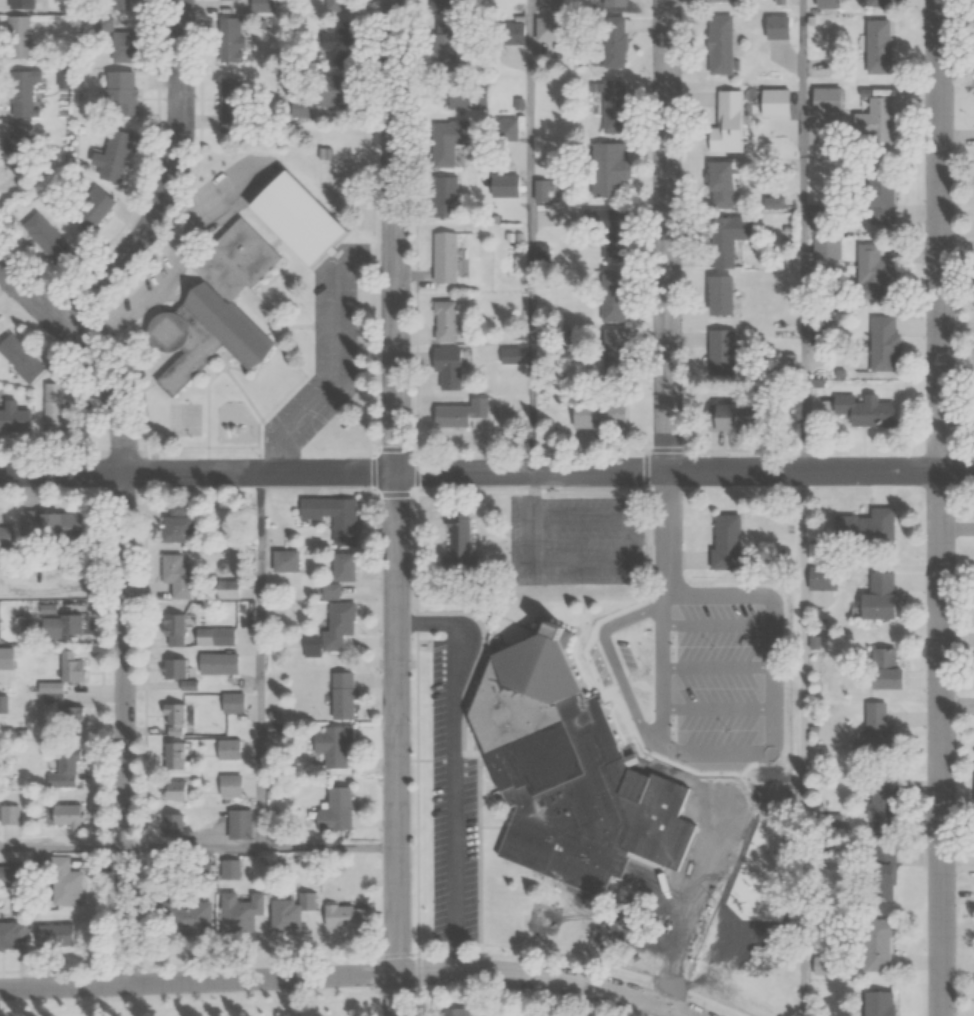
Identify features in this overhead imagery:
building: (548, 3)
building: (879, 3)
building: (19, 4)
building: (123, 5)
building: (245, 5)
building: (440, 5)
building: (776, 27)
building: (546, 28)
building: (509, 33)
building: (15, 37)
building: (228, 39)
building: (442, 42)
building: (613, 42)
building: (332, 43)
building: (719, 44)
building: (122, 46)
building: (877, 46)
building: (332, 90)
building: (21, 93)
building: (118, 93)
building: (825, 98)
building: (229, 104)
building: (611, 105)
building: (878, 122)
building: (727, 123)
building: (18, 140)
building: (447, 141)
building: (112, 155)
building: (608, 169)
road: (173, 182)
building: (719, 182)
building: (541, 190)
building: (443, 196)
building: (879, 202)
building: (91, 209)
building: (295, 218)
building: (33, 226)
building: (608, 235)
road: (803, 235)
road: (532, 236)
building: (728, 238)
building: (826, 247)
building: (55, 248)
building: (443, 257)
building: (872, 273)
building: (610, 295)
building: (718, 295)
building: (216, 308)
building: (442, 321)
building: (820, 327)
building: (881, 342)
road: (335, 348)
building: (720, 348)
building: (613, 353)
building: (509, 355)
building: (20, 358)
building: (446, 366)
building: (54, 407)
building: (861, 409)
building: (458, 413)
building: (597, 414)
building: (13, 416)
building: (726, 416)
park: (186, 418)
road: (551, 471)
road: (64, 472)
road: (397, 507)
road: (670, 507)
road: (940, 508)
building: (331, 516)
building: (44, 524)
road: (534, 524)
building: (864, 526)
building: (174, 527)
building: (4, 536)
building: (725, 540)
building: (461, 551)
building: (283, 560)
building: (341, 566)
building: (174, 575)
building: (821, 577)
building: (225, 589)
building: (328, 591)
road: (128, 597)
building: (876, 597)
building: (60, 623)
building: (329, 629)
building: (167, 631)
building: (210, 636)
building: (5, 657)
road: (260, 660)
building: (215, 663)
building: (885, 666)
building: (171, 667)
building: (65, 671)
building: (340, 694)
building: (231, 703)
building: (4, 704)
building: (171, 718)
building: (532, 720)
building: (876, 724)
road: (803, 743)
building: (330, 744)
building: (227, 749)
building: (173, 755)
building: (66, 767)
building: (767, 773)
building: (229, 785)
building: (171, 790)
building: (879, 806)
building: (333, 810)
building: (68, 818)
building: (238, 824)
building: (171, 826)
building: (569, 830)
road: (64, 847)
road: (194, 848)
road: (329, 848)
building: (228, 869)
building: (879, 872)
building: (63, 882)
building: (305, 900)
building: (239, 910)
building: (195, 915)
building: (279, 915)
building: (344, 915)
building: (545, 918)
park: (546, 918)
building: (11, 934)
building: (53, 936)
building: (875, 943)
road: (413, 972)
road: (63, 982)
park: (192, 1000)
building: (876, 1003)
building: (455, 1012)

